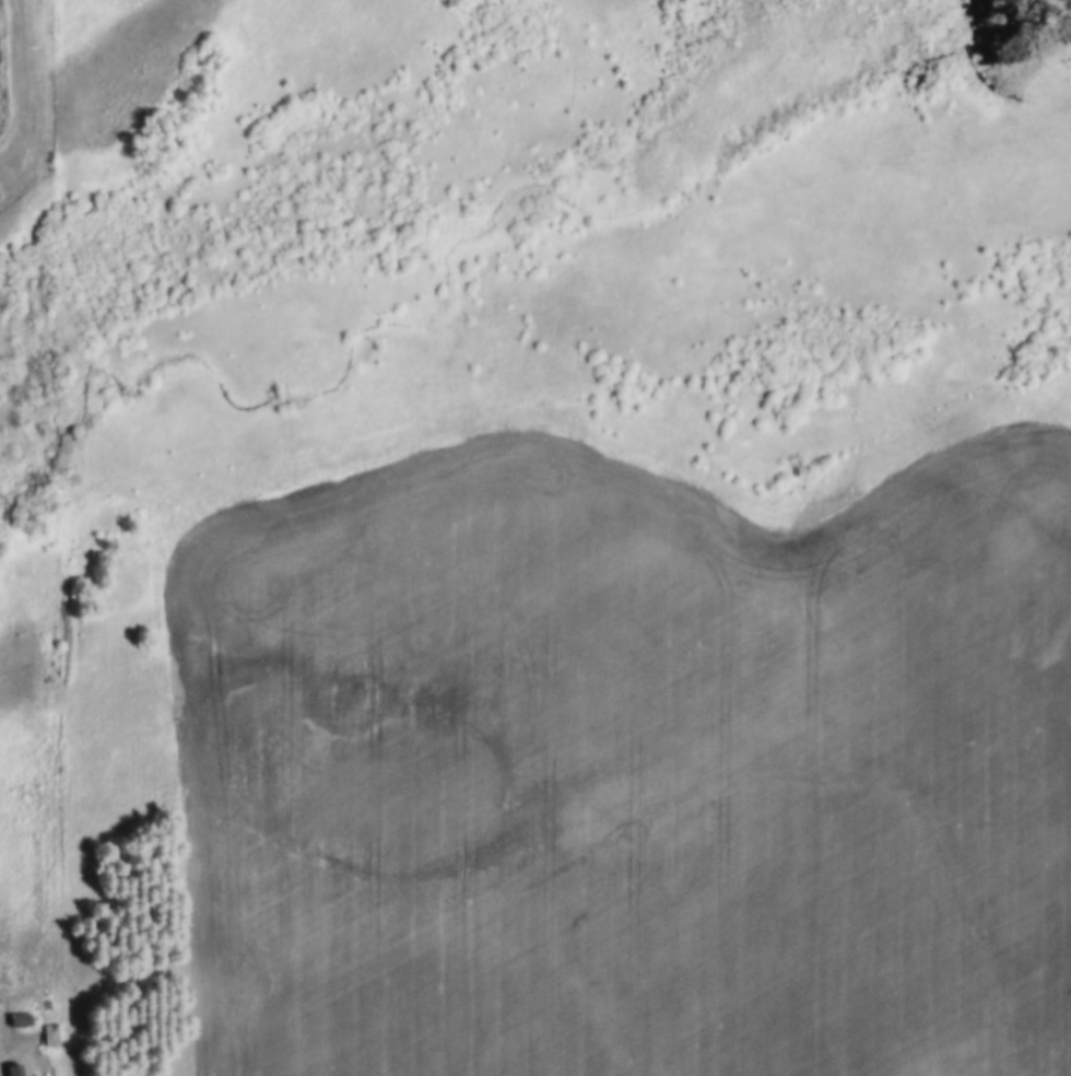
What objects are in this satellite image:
building: (21, 1015)
building: (51, 1031)
building: (19, 1068)

